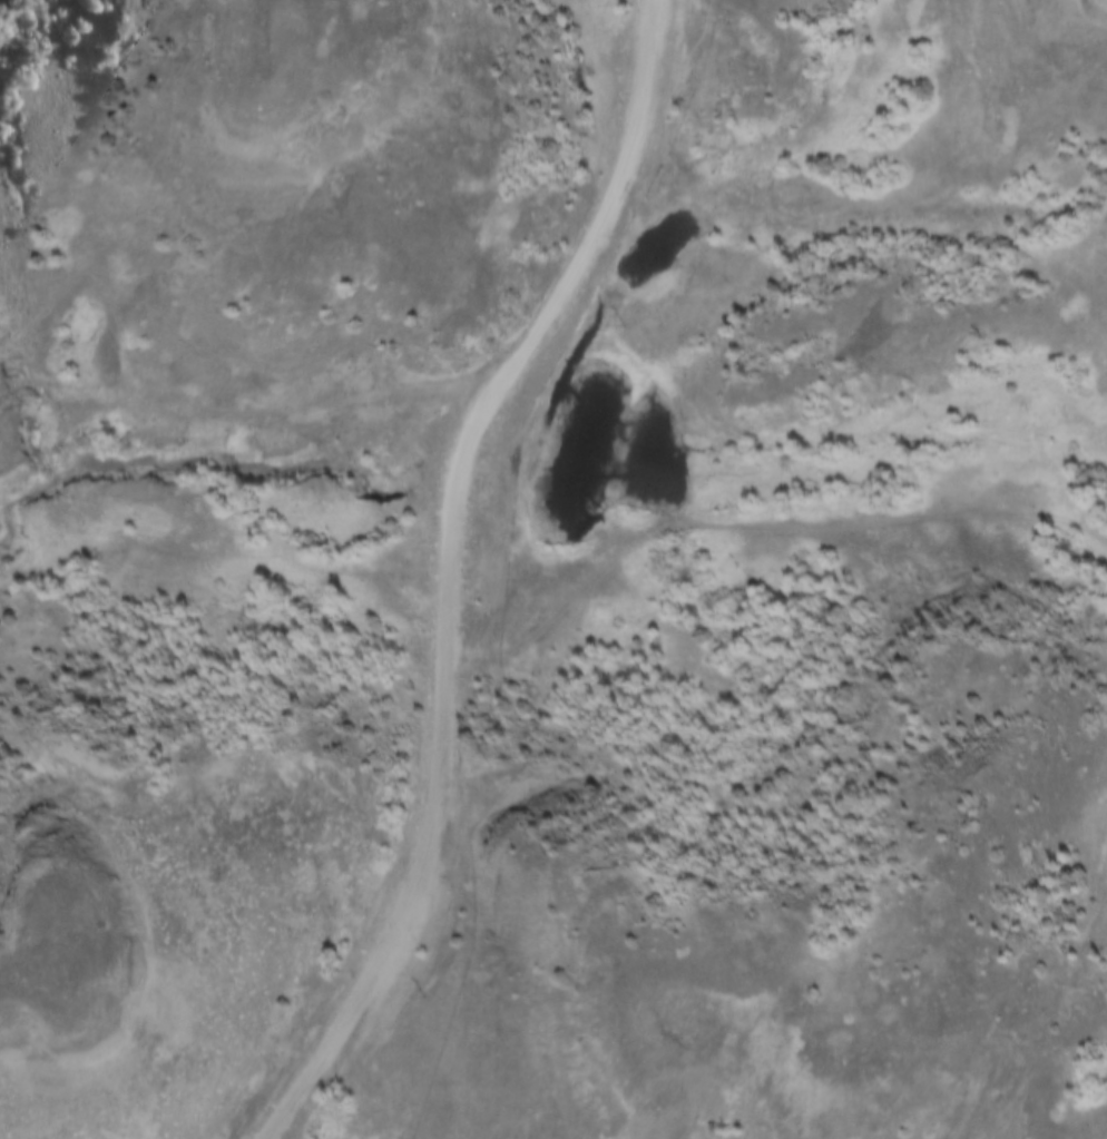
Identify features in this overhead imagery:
road: (18, 282)
road: (461, 385)

